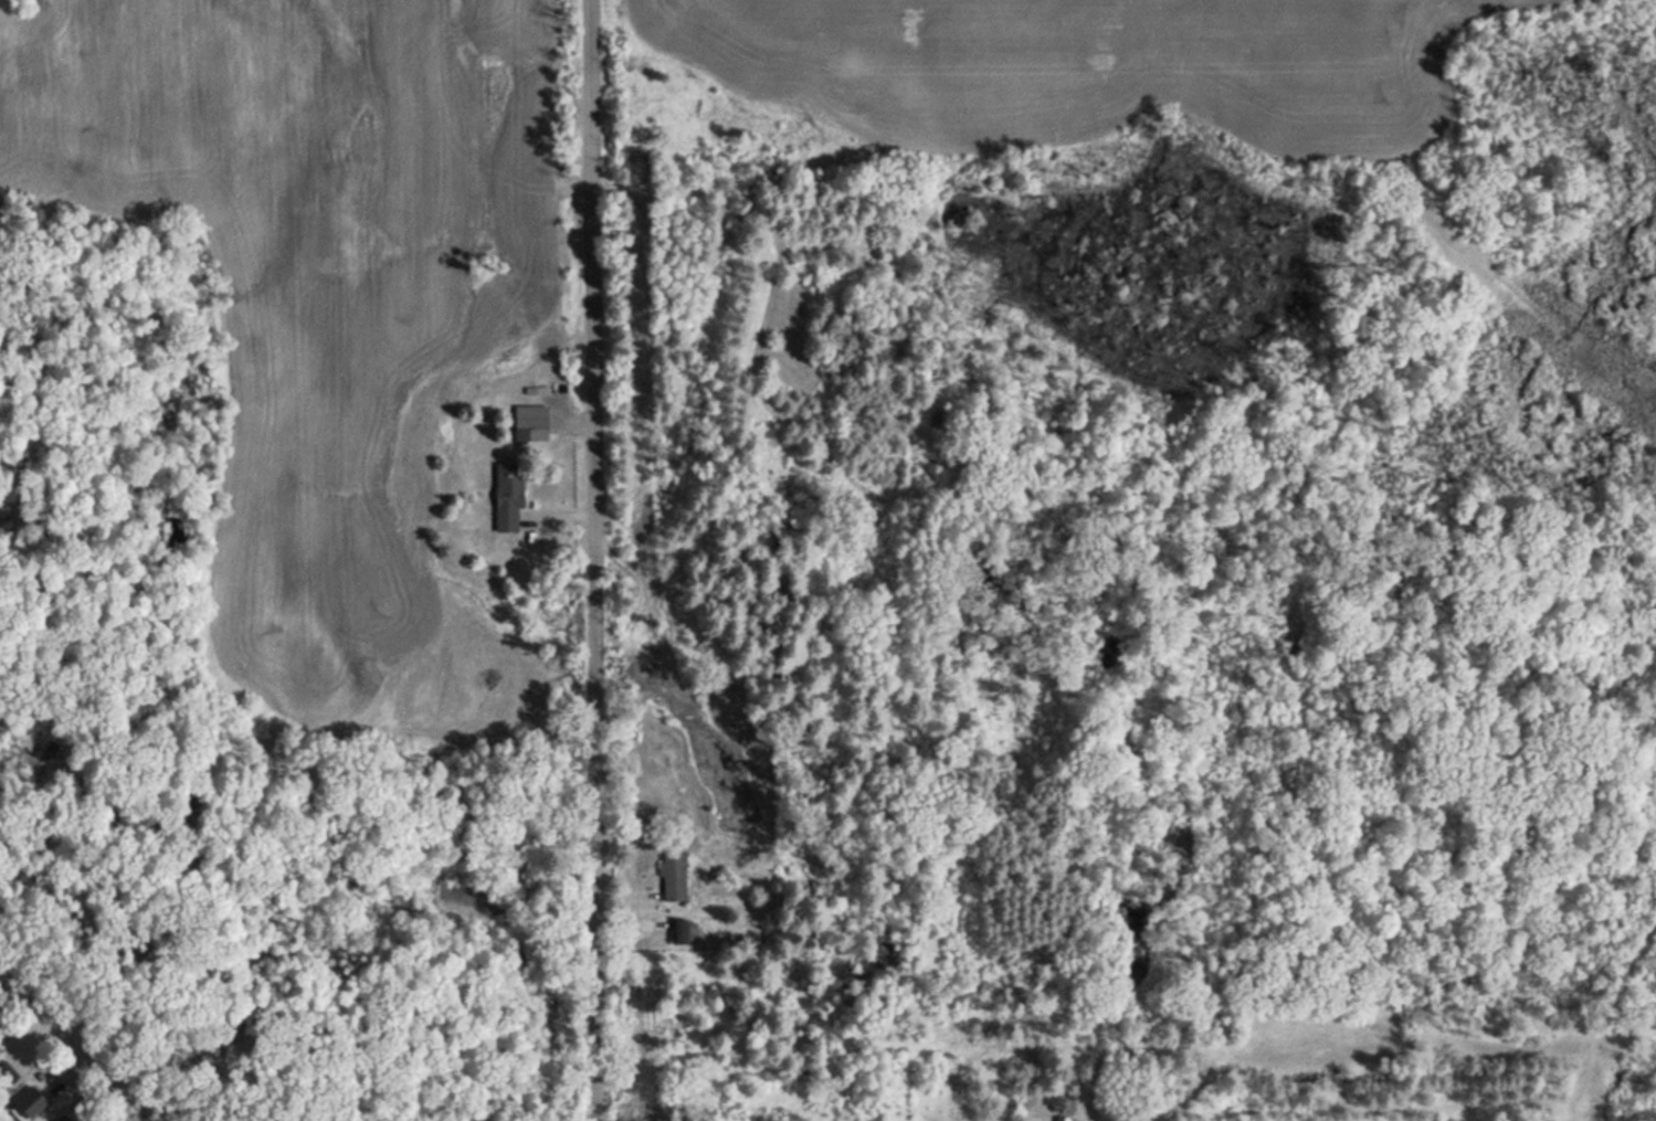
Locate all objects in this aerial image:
building: (529, 423)
building: (507, 496)
road: (598, 560)
building: (671, 875)
road: (93, 1040)
building: (4, 1075)
building: (30, 1108)

